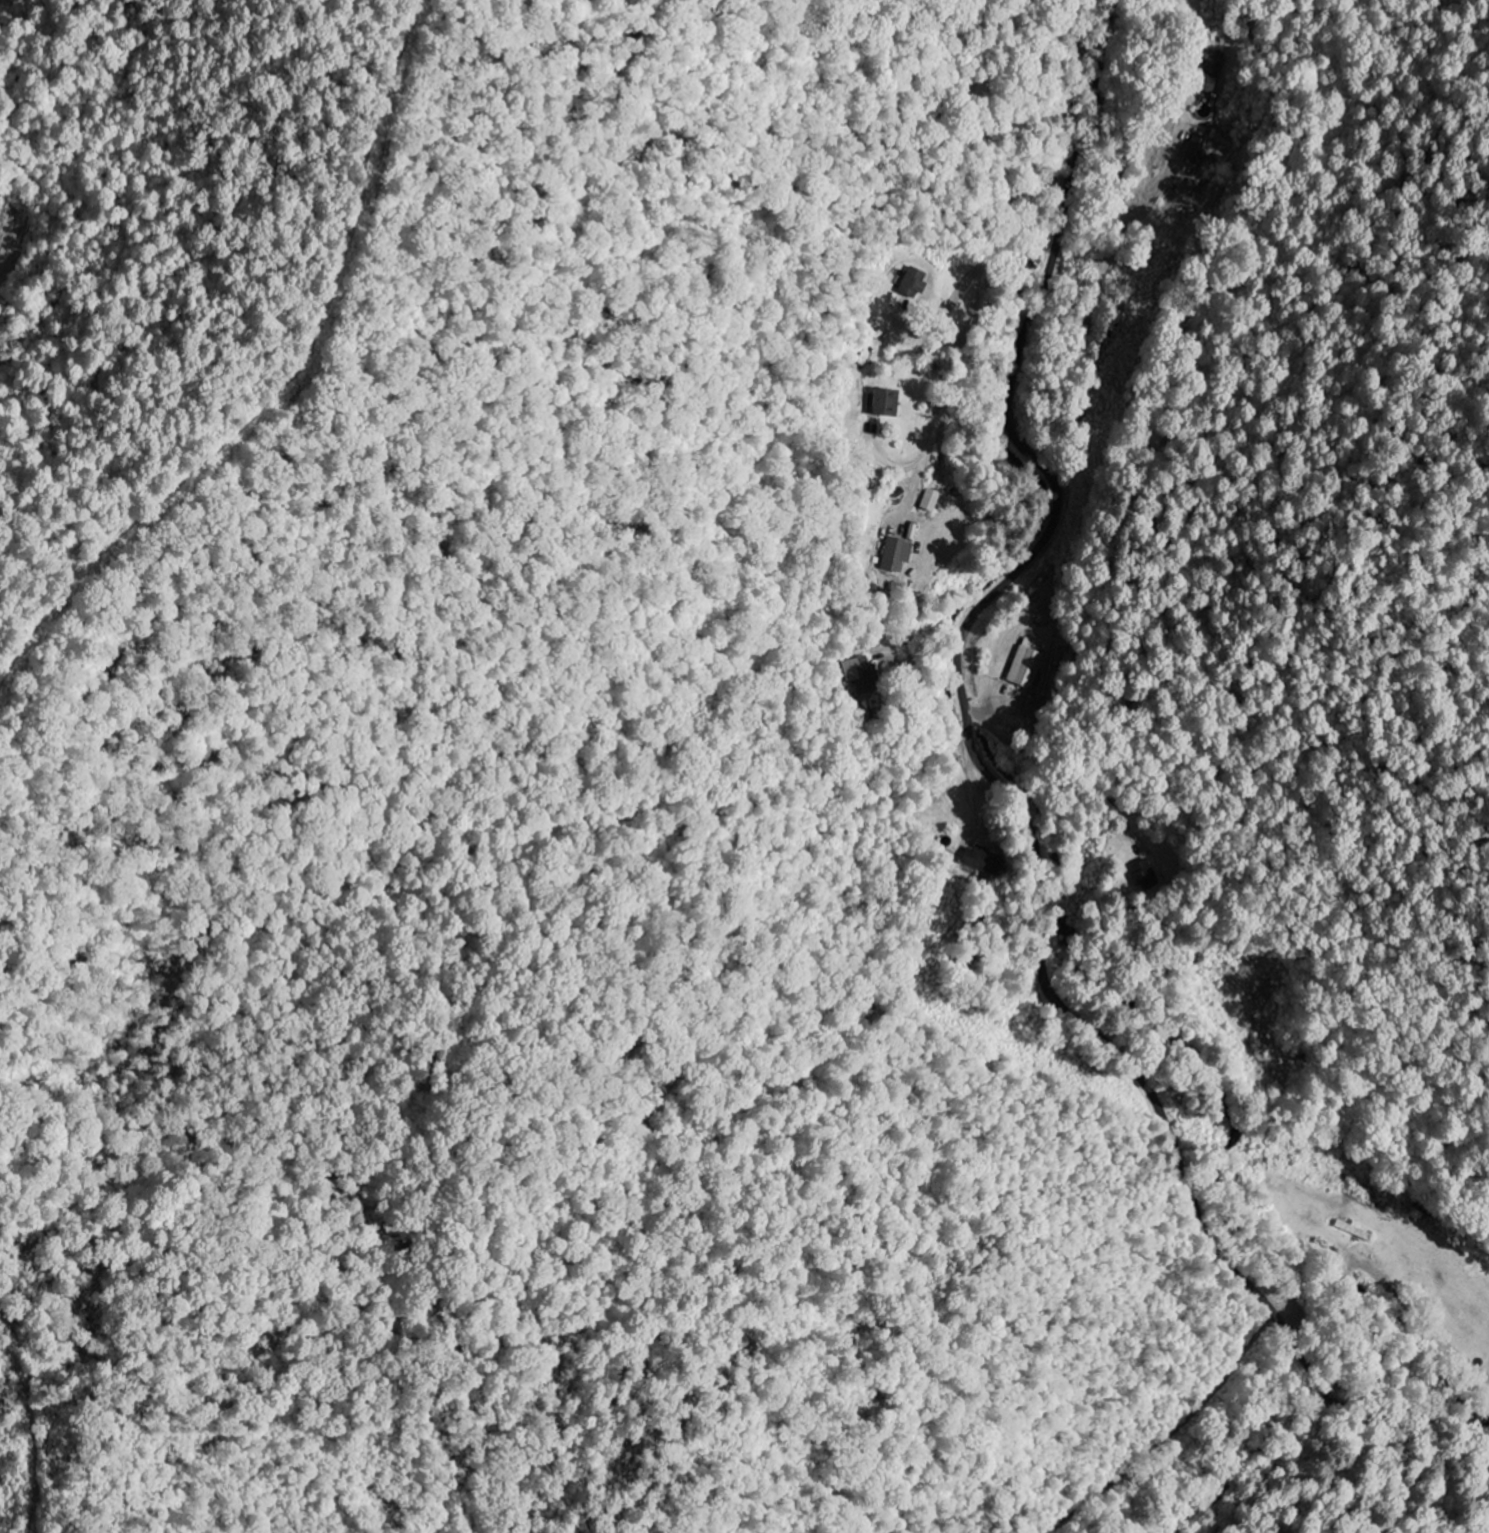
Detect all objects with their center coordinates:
building: (1216, 62)
building: (1209, 86)
building: (1201, 150)
building: (916, 281)
road: (967, 328)
building: (889, 403)
building: (932, 500)
building: (899, 554)
building: (1028, 664)
building: (860, 675)
road: (1011, 801)
building: (980, 858)
building: (1142, 869)
road: (1142, 1407)
road: (1402, 1408)

